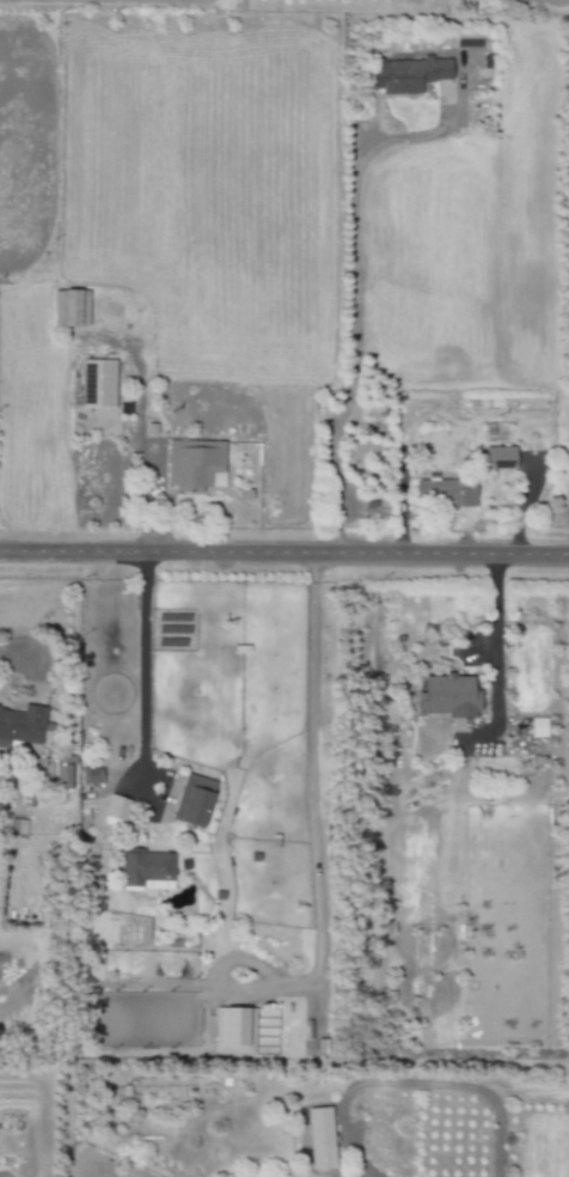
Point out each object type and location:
road: (553, 0)
road: (173, 1)
building: (404, 73)
road: (354, 275)
building: (96, 383)
building: (497, 457)
building: (191, 463)
building: (442, 490)
road: (145, 500)
road: (525, 504)
road: (284, 551)
road: (495, 640)
road: (12, 658)
road: (142, 678)
building: (445, 695)
building: (20, 724)
building: (537, 727)
building: (62, 772)
building: (90, 775)
road: (316, 779)
building: (192, 800)
building: (114, 807)
building: (84, 898)
building: (235, 1032)
road: (411, 1084)
building: (318, 1138)

